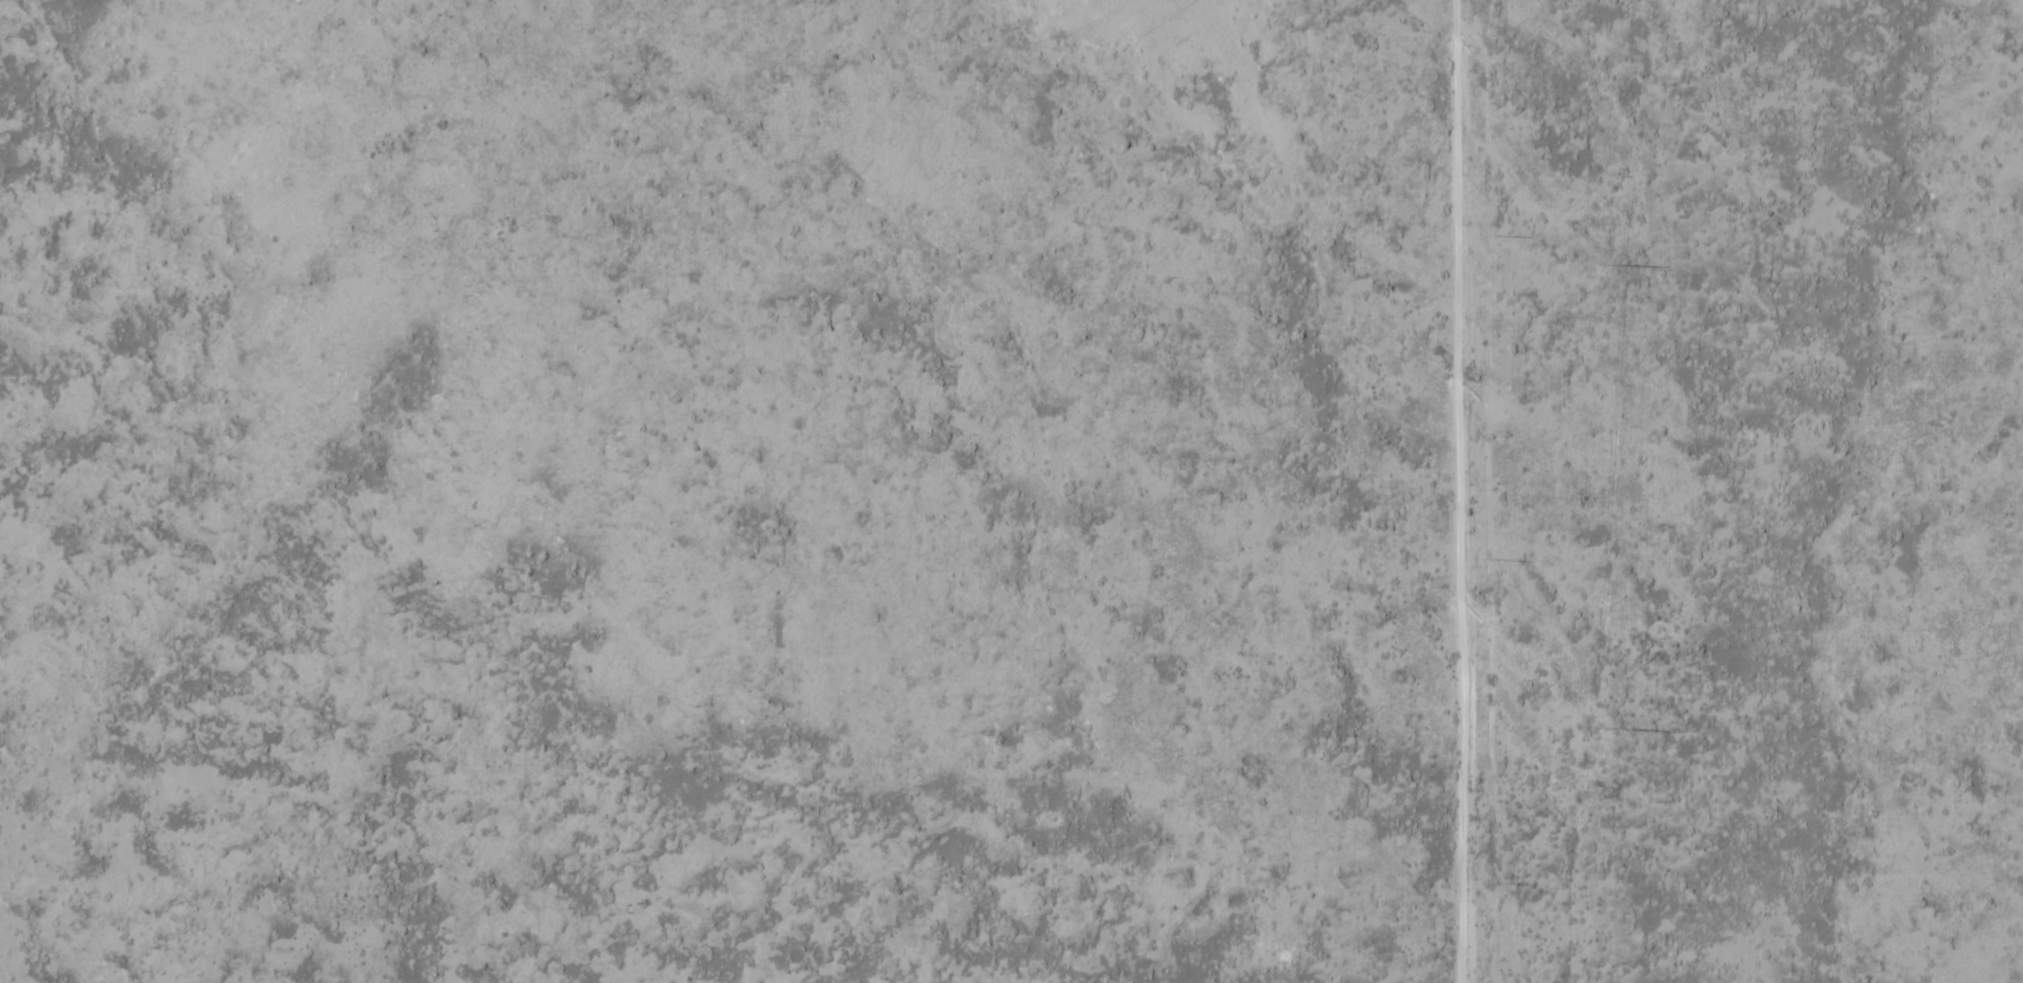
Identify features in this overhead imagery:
power tower: (1482, 236)
power tower: (1604, 266)
road: (1455, 491)
power tower: (1486, 556)
power tower: (1608, 730)
power tower: (1487, 882)

